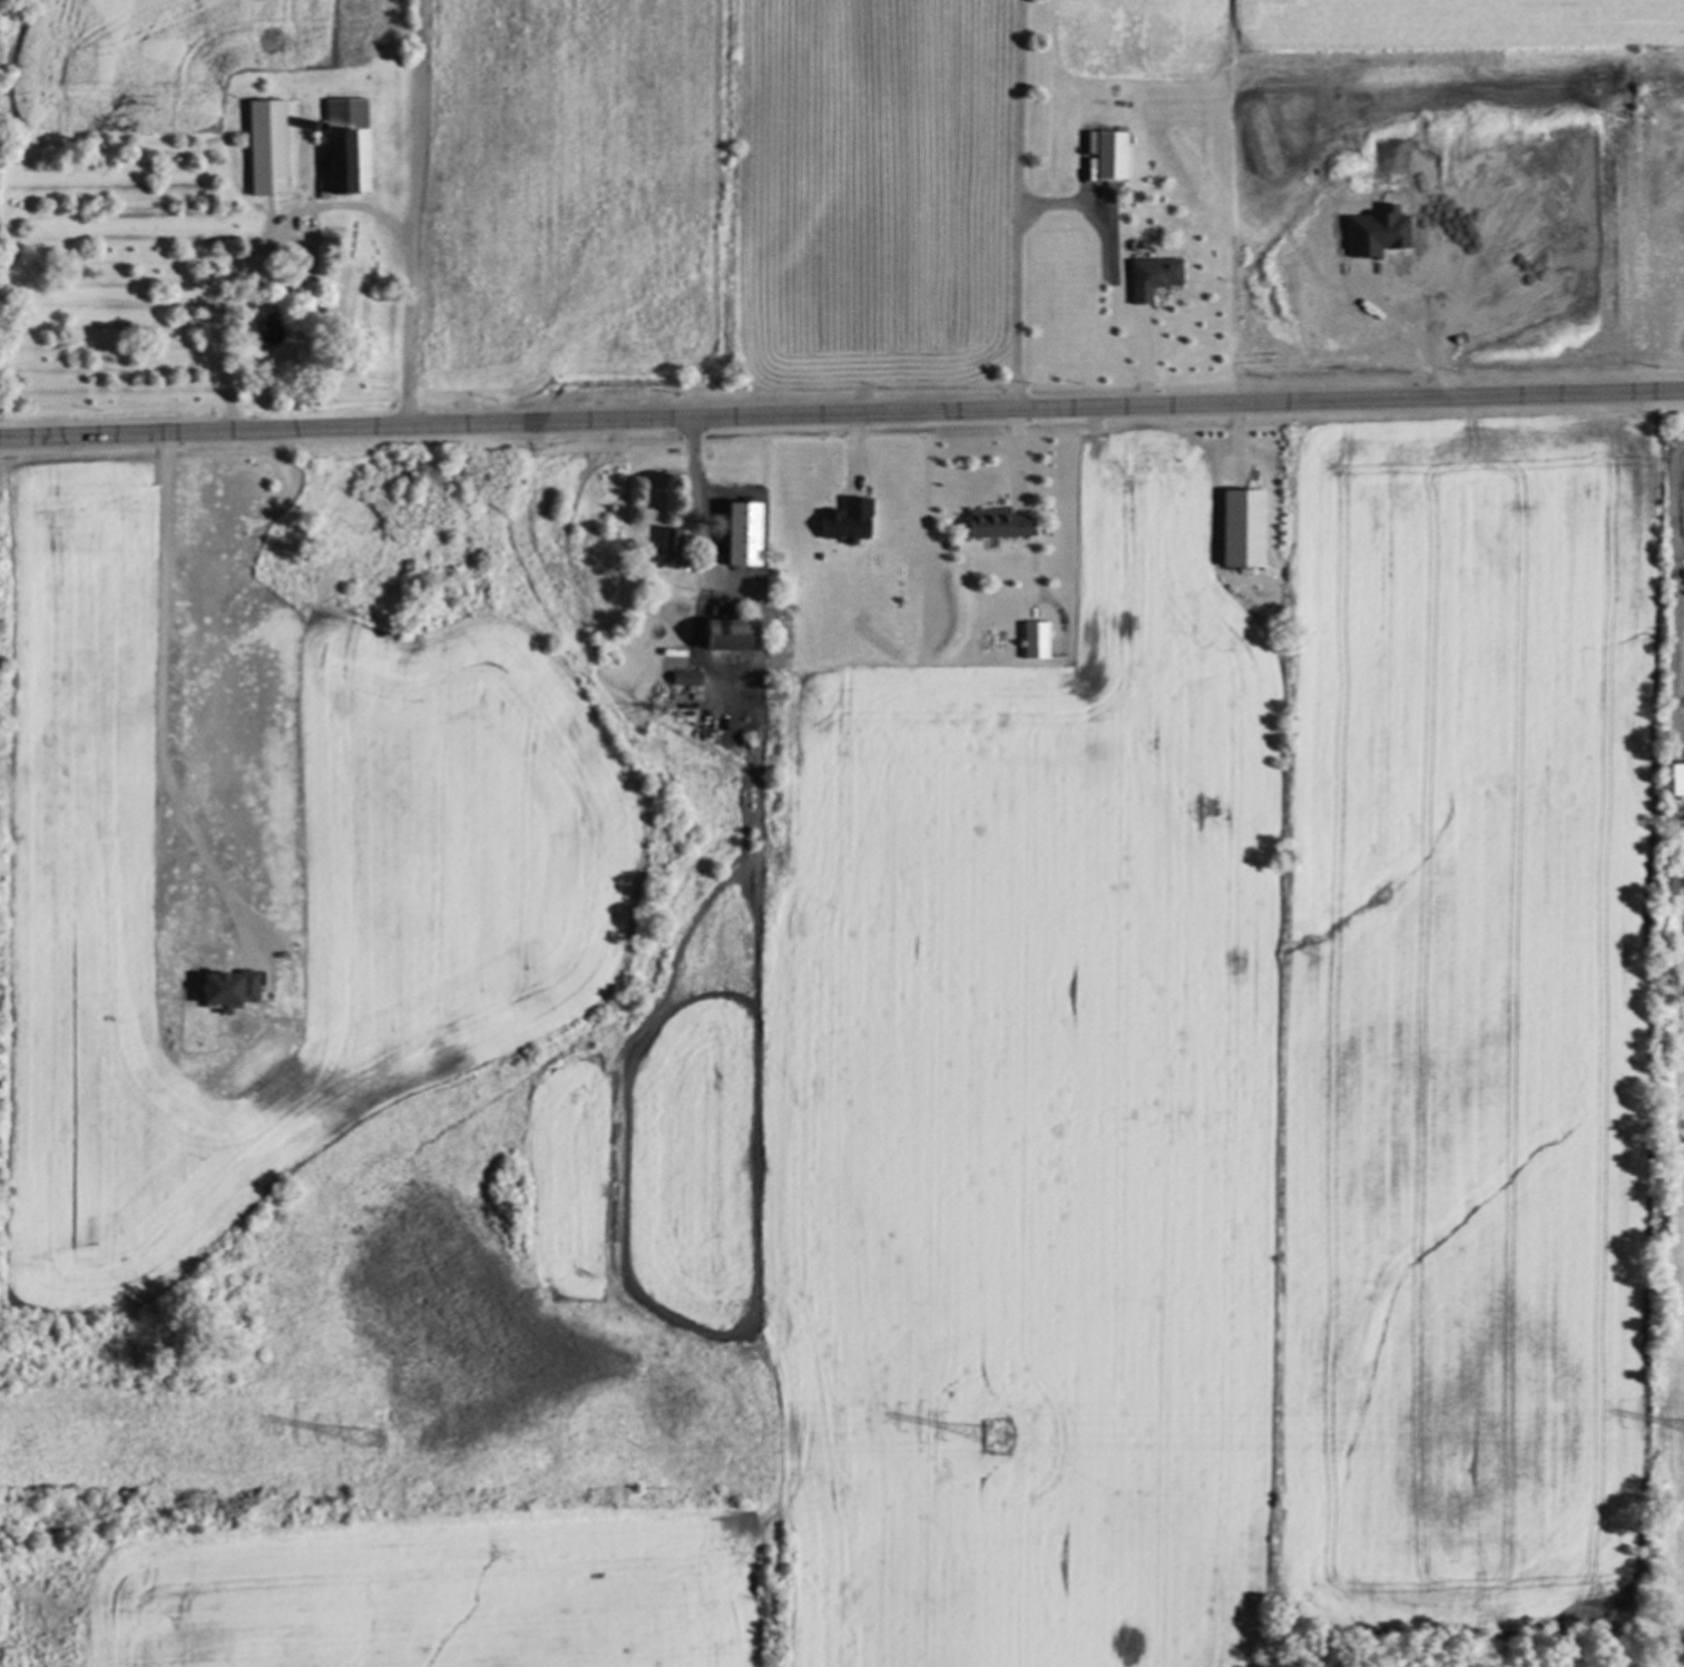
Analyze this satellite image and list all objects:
crop: (141, 57)
building: (345, 143)
building: (262, 146)
building: (1109, 154)
building: (1098, 199)
road: (1021, 206)
road: (409, 214)
building: (1373, 232)
road: (251, 256)
building: (1149, 275)
road: (1116, 303)
road: (1414, 326)
building: (255, 332)
road: (842, 416)
road: (1032, 504)
building: (842, 520)
road: (702, 523)
building: (992, 523)
building: (1237, 527)
building: (737, 533)
road: (1680, 590)
building: (718, 635)
building: (1031, 639)
building: (683, 677)
road: (167, 706)
building: (1674, 778)
crop: (263, 865)
building: (224, 989)
crop: (1168, 1129)
power tower: (371, 1442)
power tower: (997, 1443)

